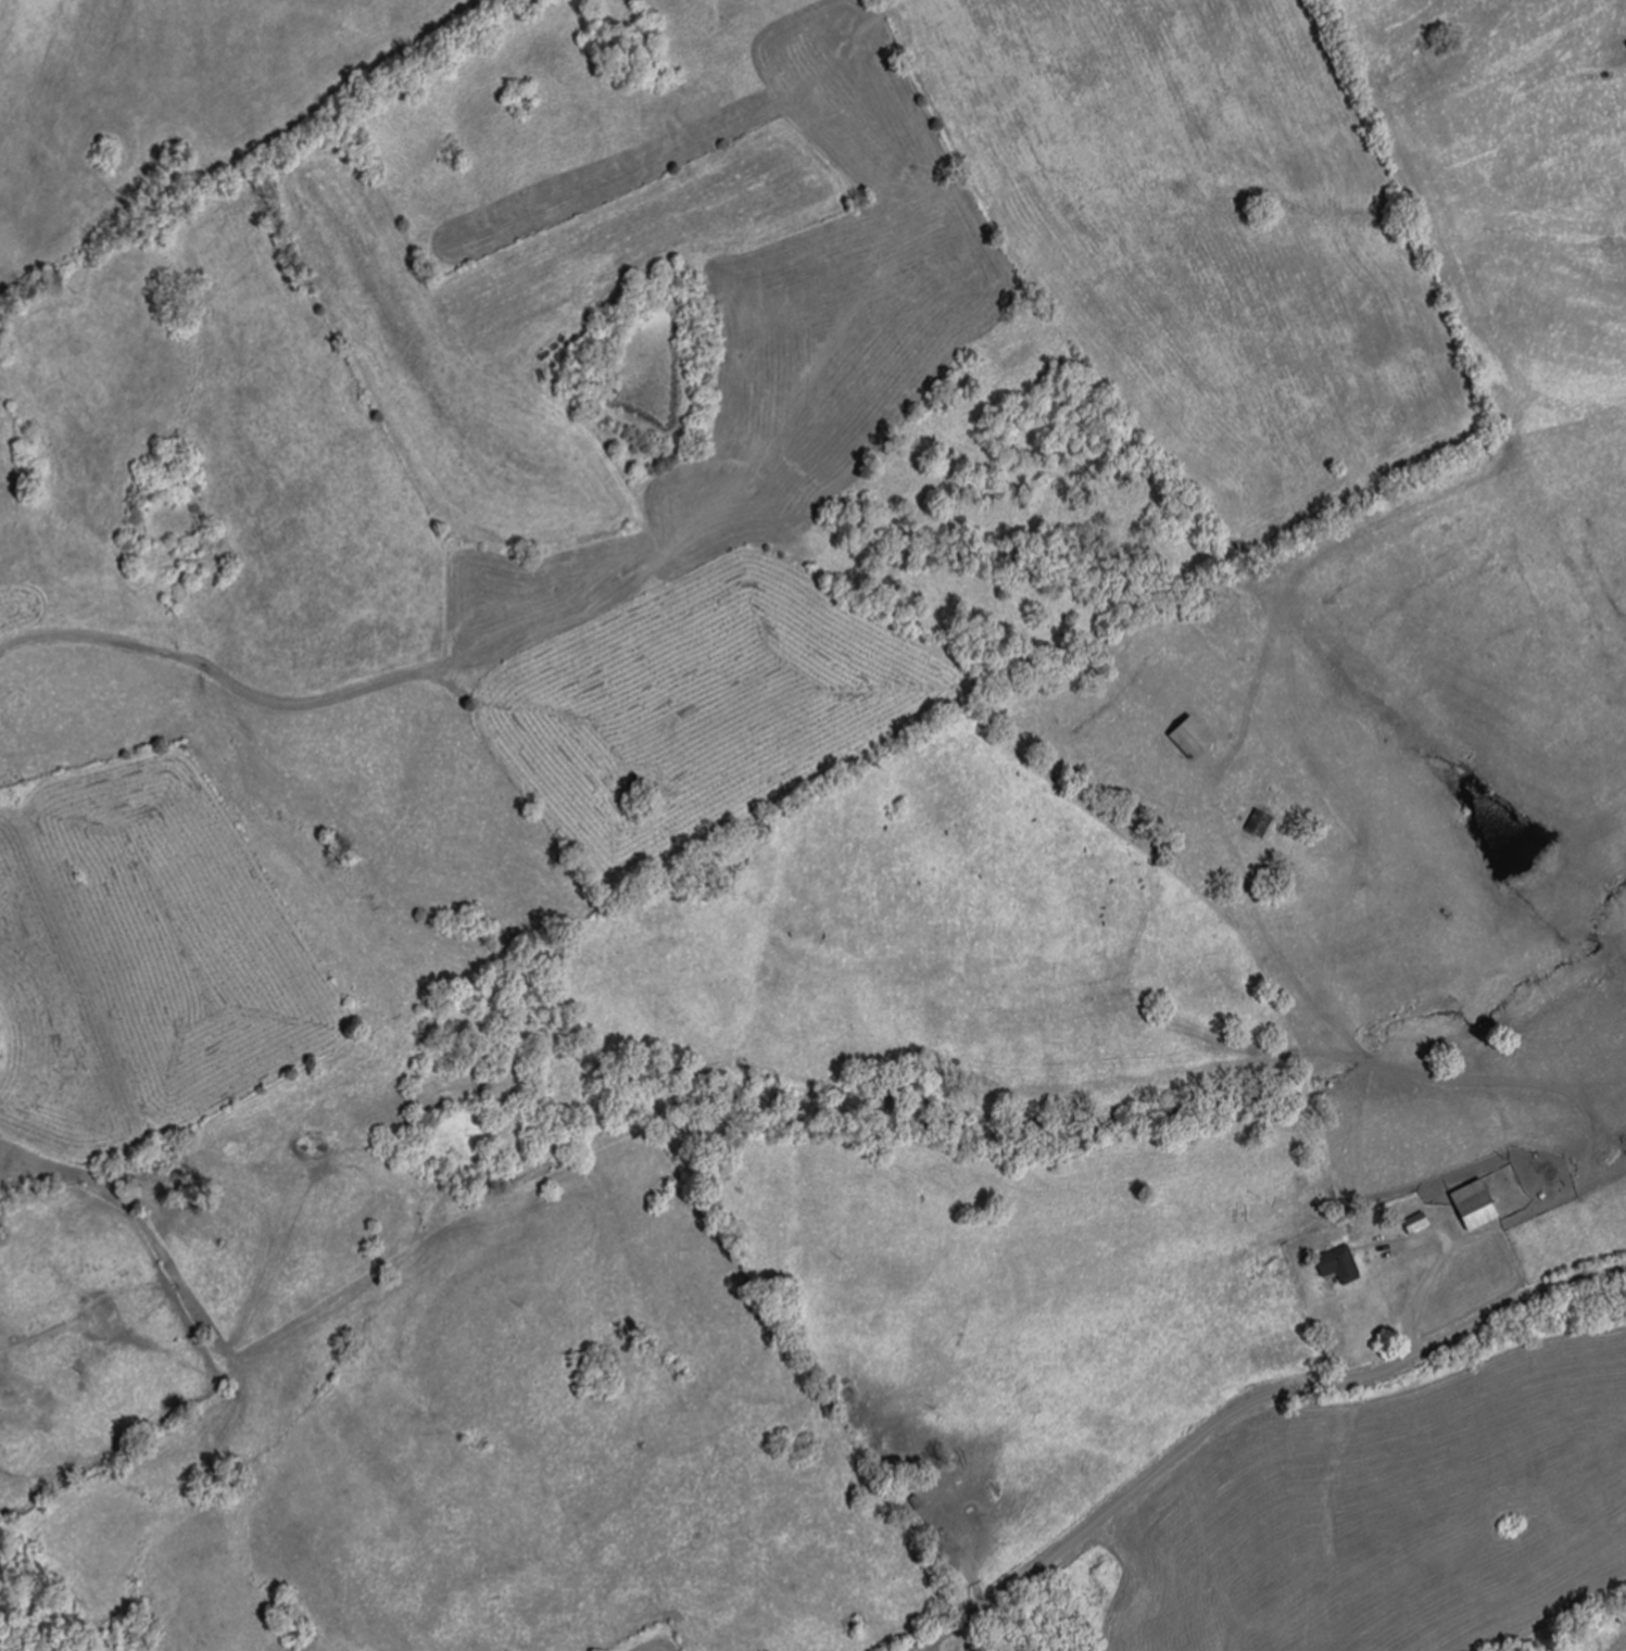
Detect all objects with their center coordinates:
building: (1200, 738)
building: (1265, 819)
building: (1482, 1205)
building: (1423, 1223)
building: (1343, 1265)
road: (1240, 1408)
building: (954, 1520)

